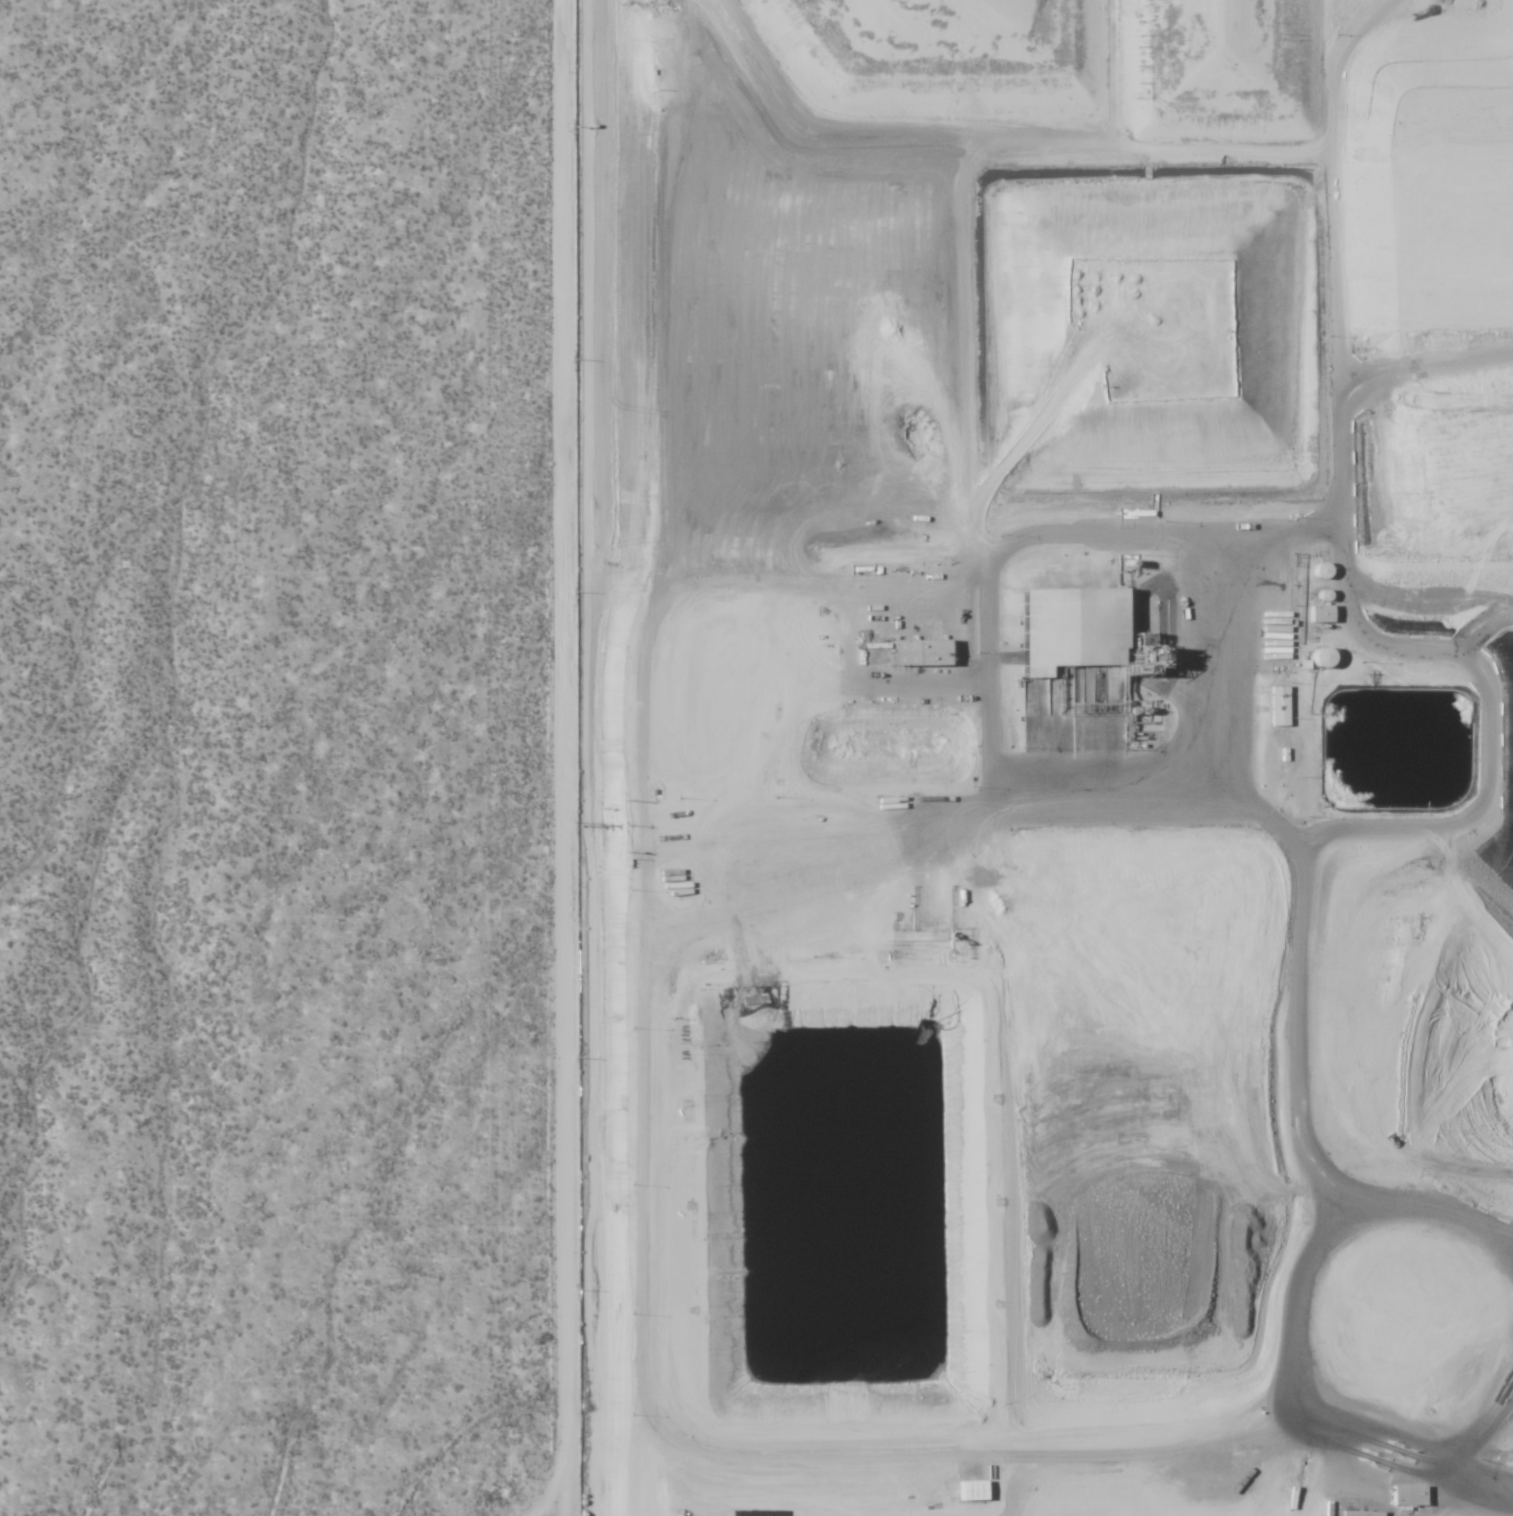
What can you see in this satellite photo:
building: (1326, 612)
building: (1081, 628)
building: (928, 651)
landfill: (1015, 758)
building: (976, 1491)
building: (1401, 1495)
building: (1360, 1513)

